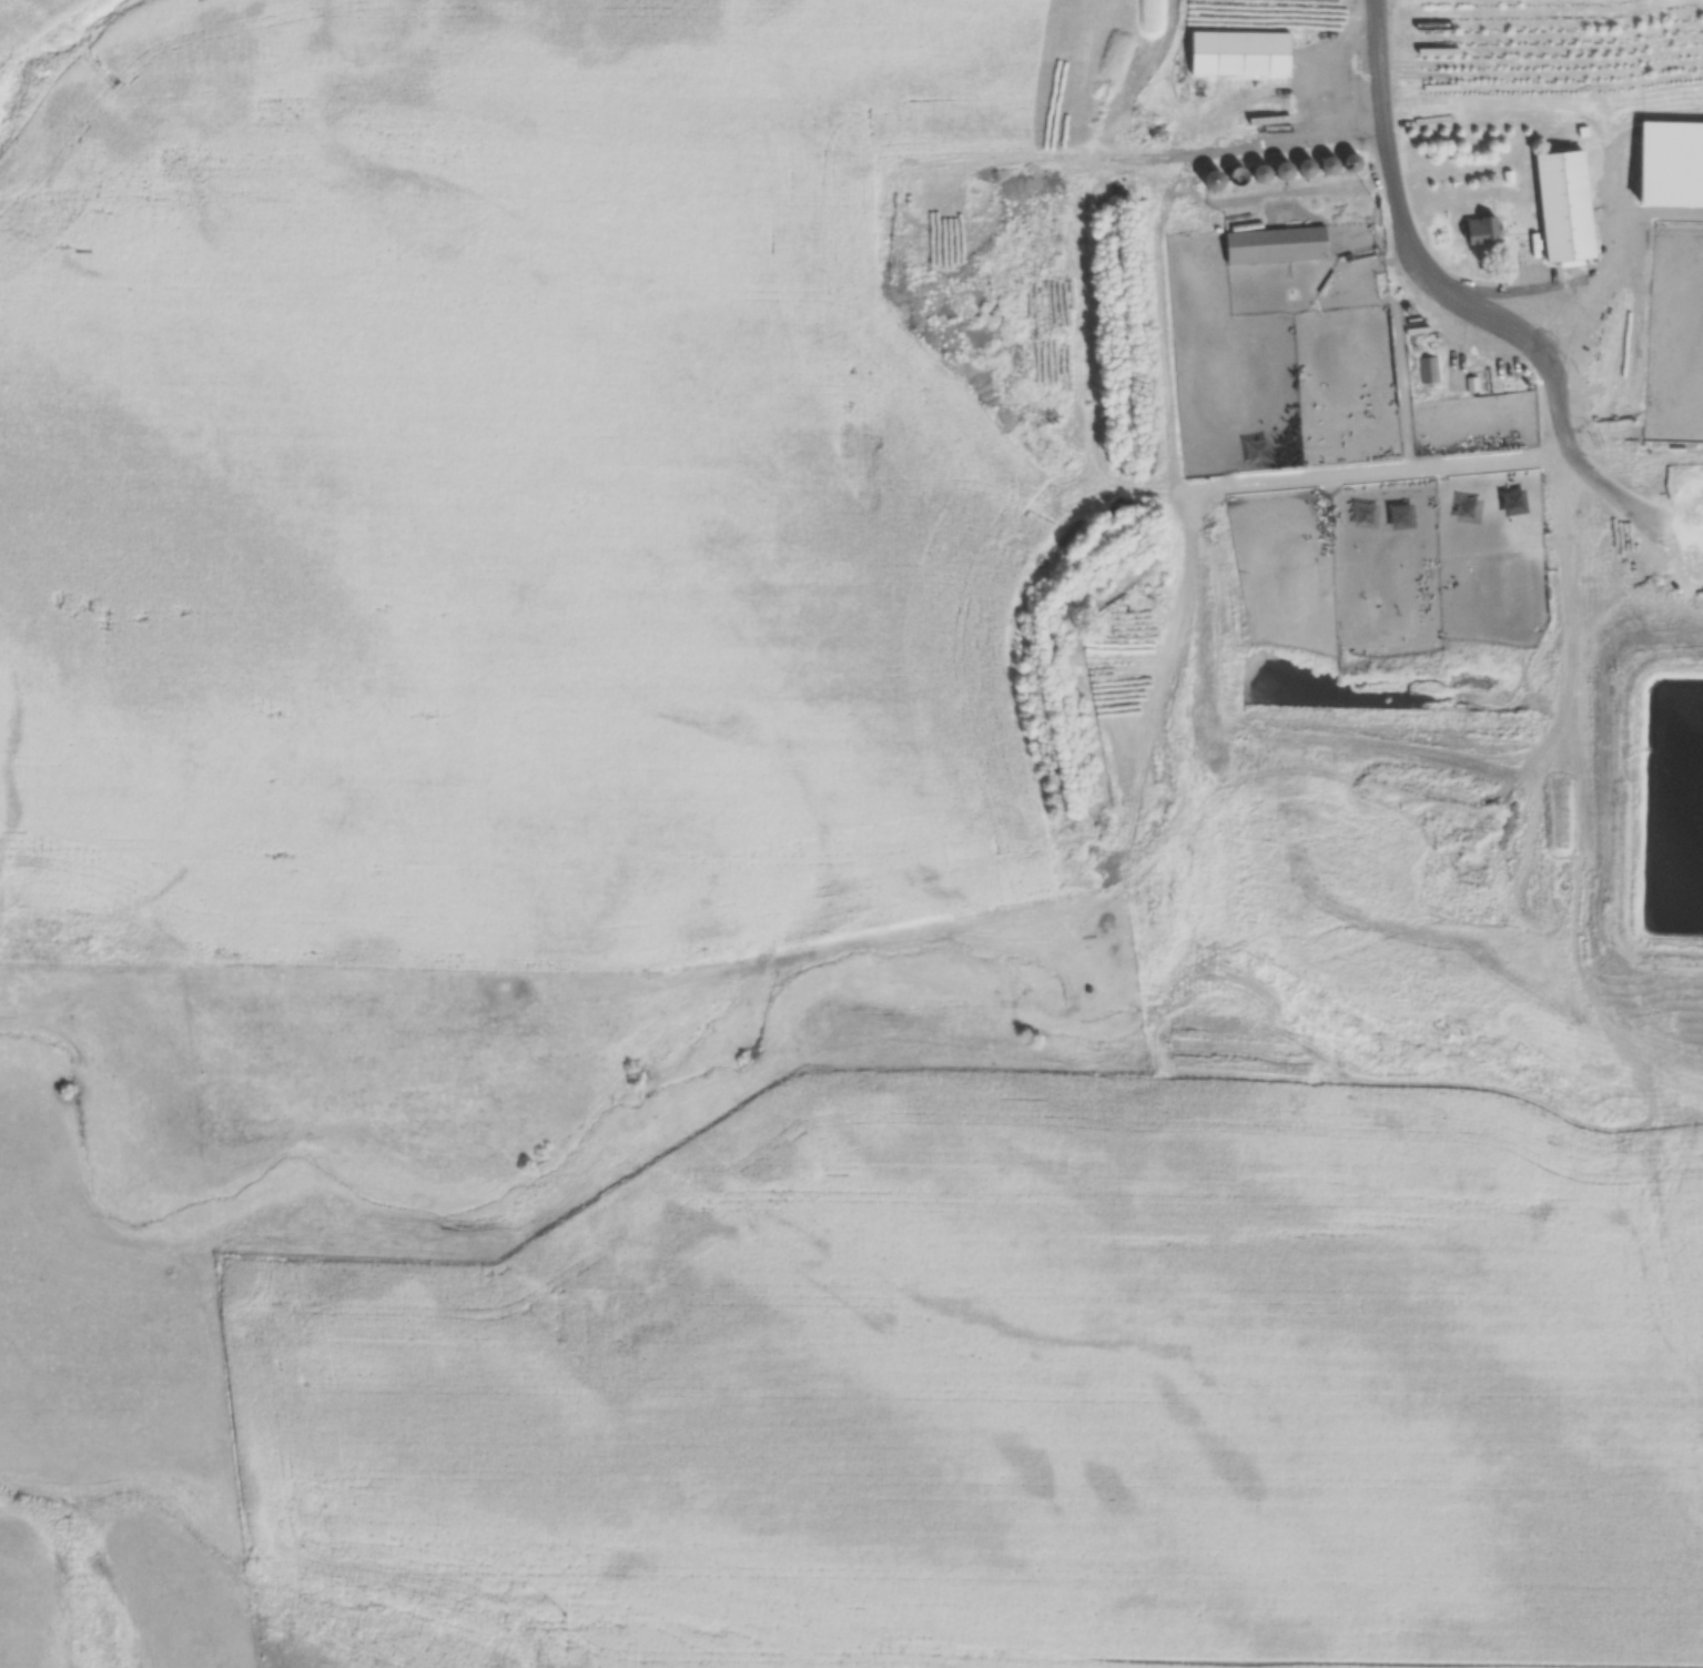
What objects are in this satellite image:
building: (1238, 53)
road: (1396, 204)
building: (1562, 205)
building: (1480, 229)
building: (1274, 244)
building: (1553, 309)
building: (1428, 368)

